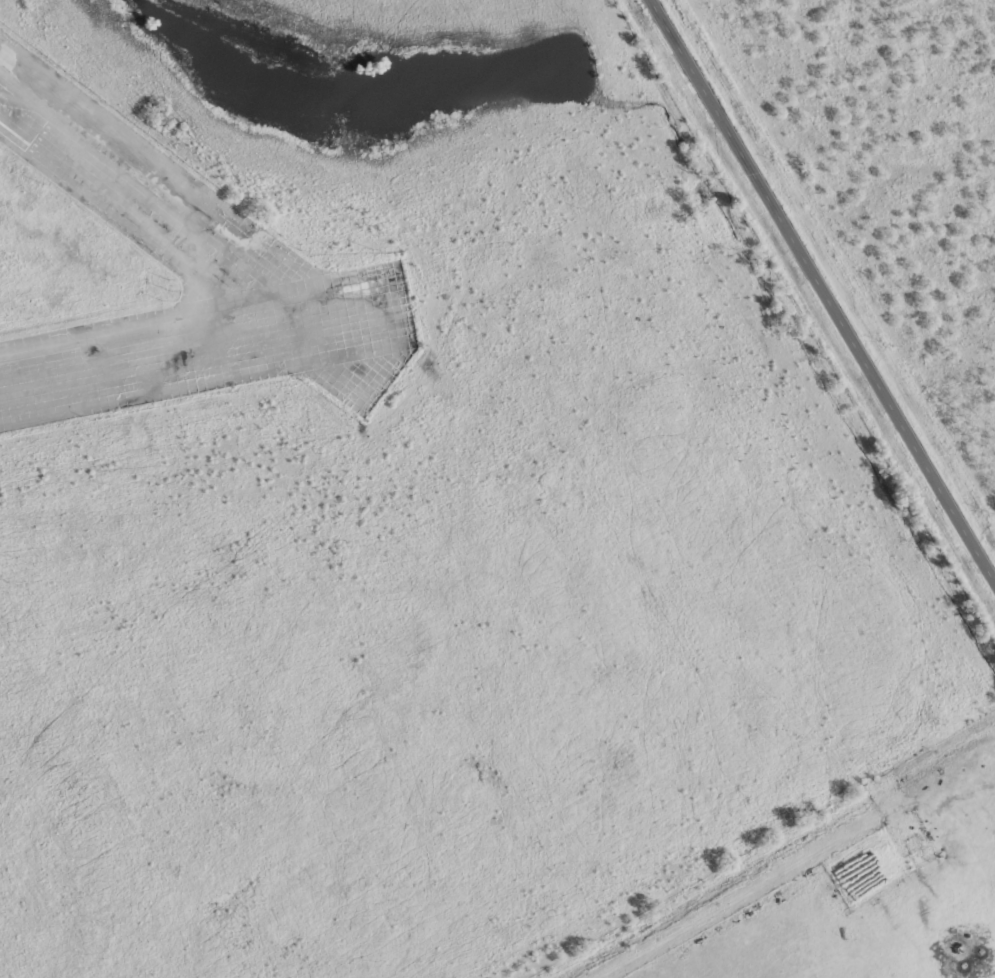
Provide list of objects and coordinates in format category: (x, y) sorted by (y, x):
road: (824, 290)

